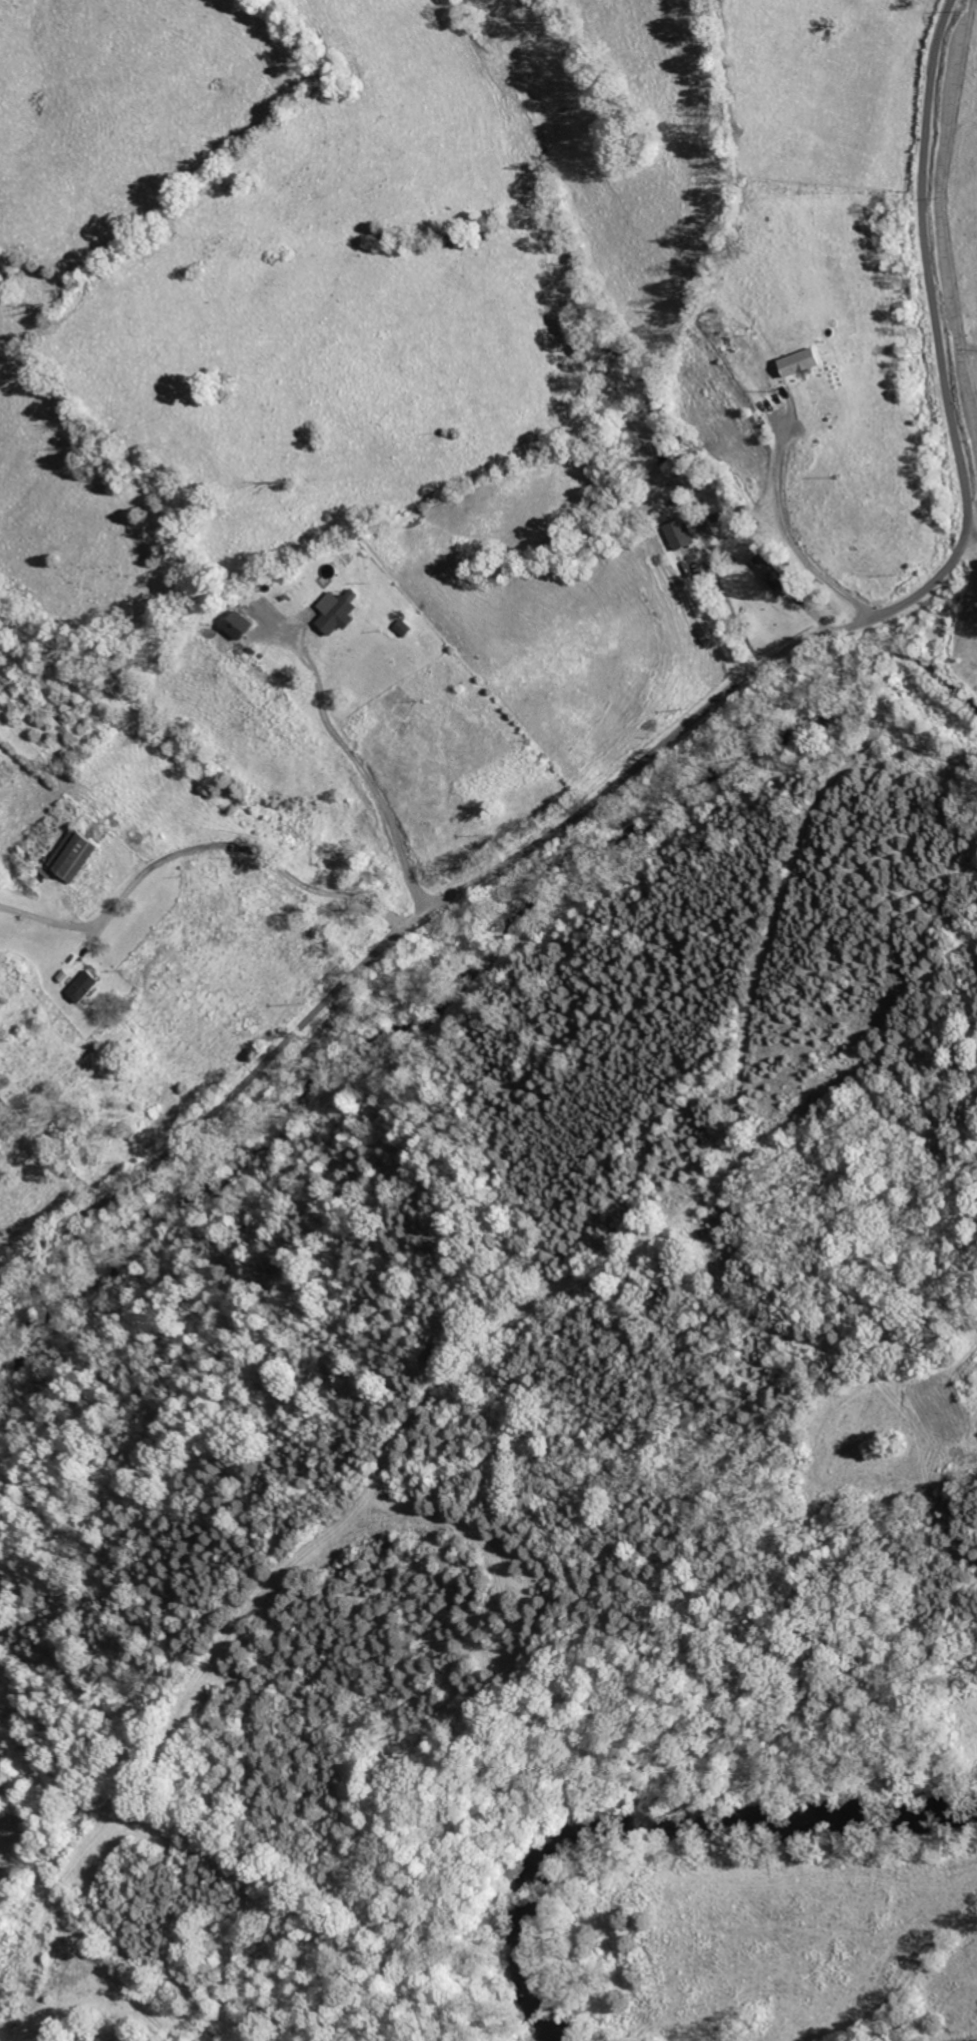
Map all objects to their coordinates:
building: (798, 362)
building: (677, 533)
road: (788, 537)
building: (771, 571)
building: (336, 614)
road: (714, 623)
building: (235, 624)
road: (686, 723)
road: (354, 776)
road: (197, 849)
building: (73, 856)

